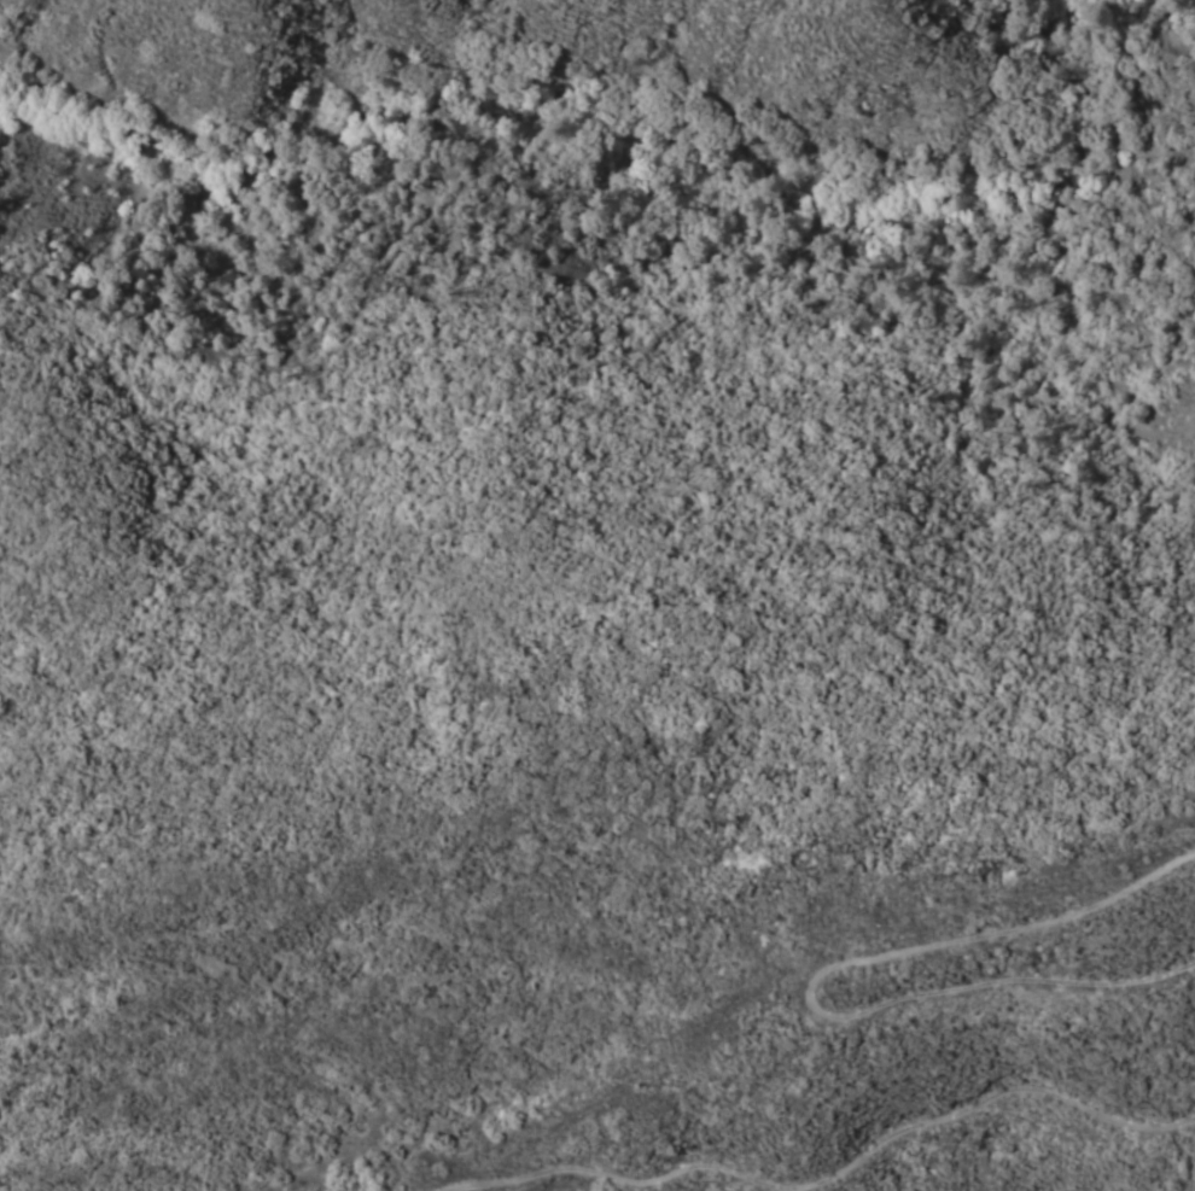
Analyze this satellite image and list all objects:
road: (816, 994)
road: (998, 1103)
road: (626, 1185)

